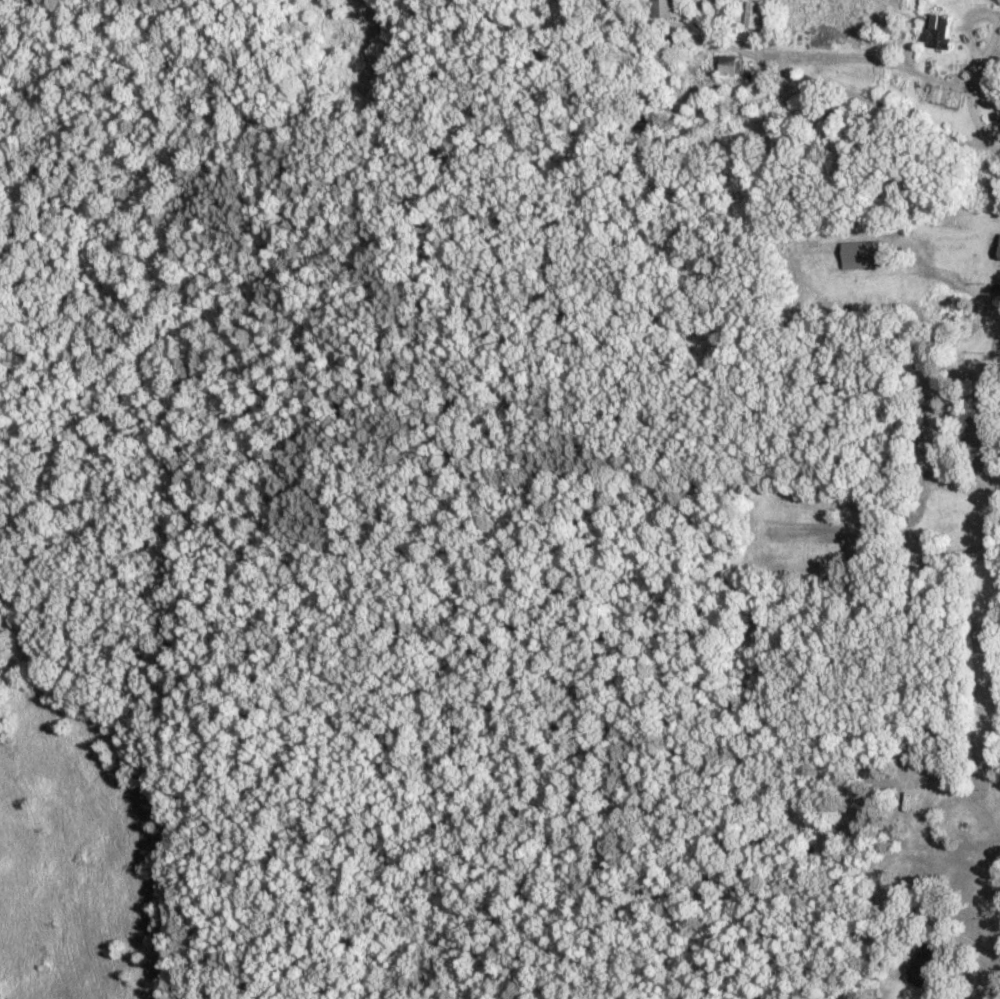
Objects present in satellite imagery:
building: (662, 10)
building: (746, 18)
building: (930, 34)
building: (722, 70)
building: (995, 253)
building: (995, 296)
building: (921, 464)
road: (857, 470)
building: (902, 813)
building: (916, 915)
building: (917, 966)

